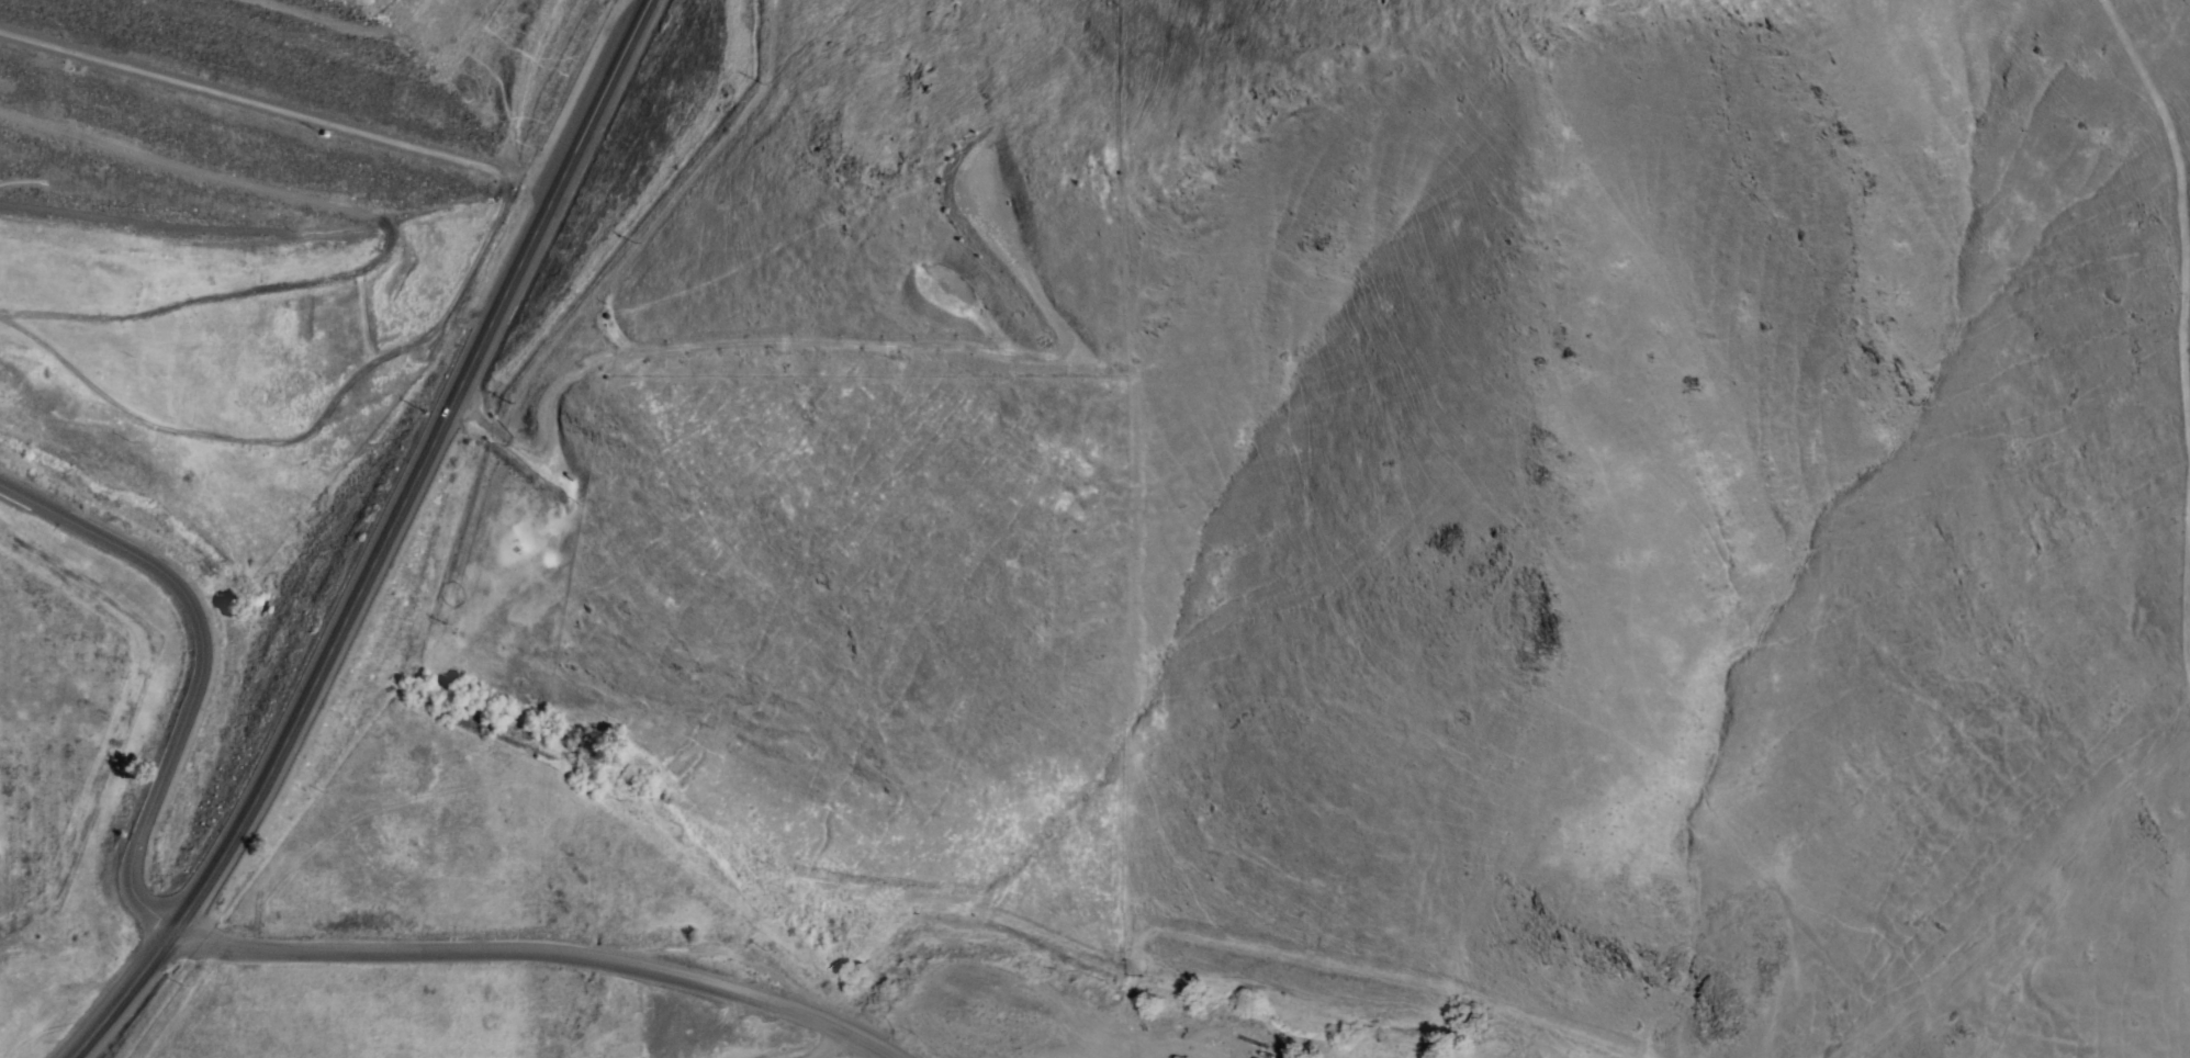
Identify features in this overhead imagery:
road: (280, 106)
dam: (243, 136)
road: (385, 541)
park: (131, 564)
road: (198, 669)
crop: (50, 708)
road: (521, 959)

